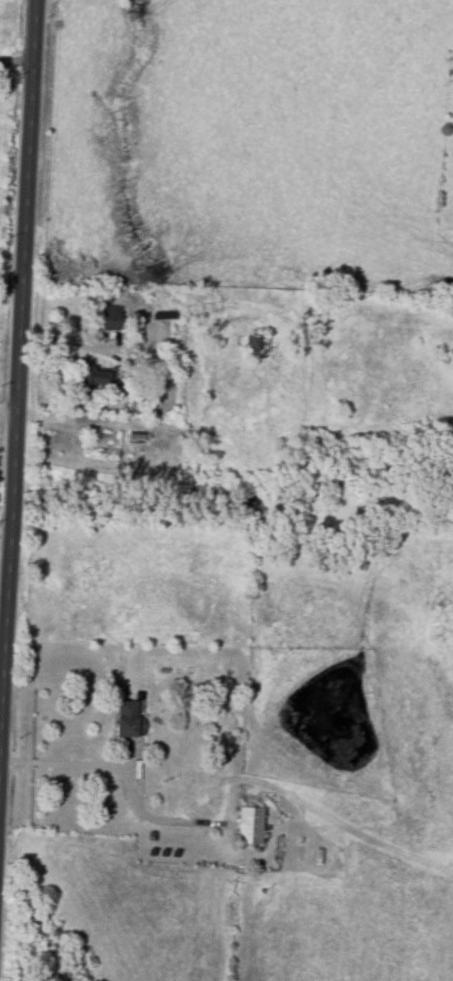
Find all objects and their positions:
road: (15, 60)
building: (111, 317)
road: (17, 339)
building: (96, 378)
road: (7, 410)
building: (129, 717)
road: (61, 762)
building: (250, 824)

